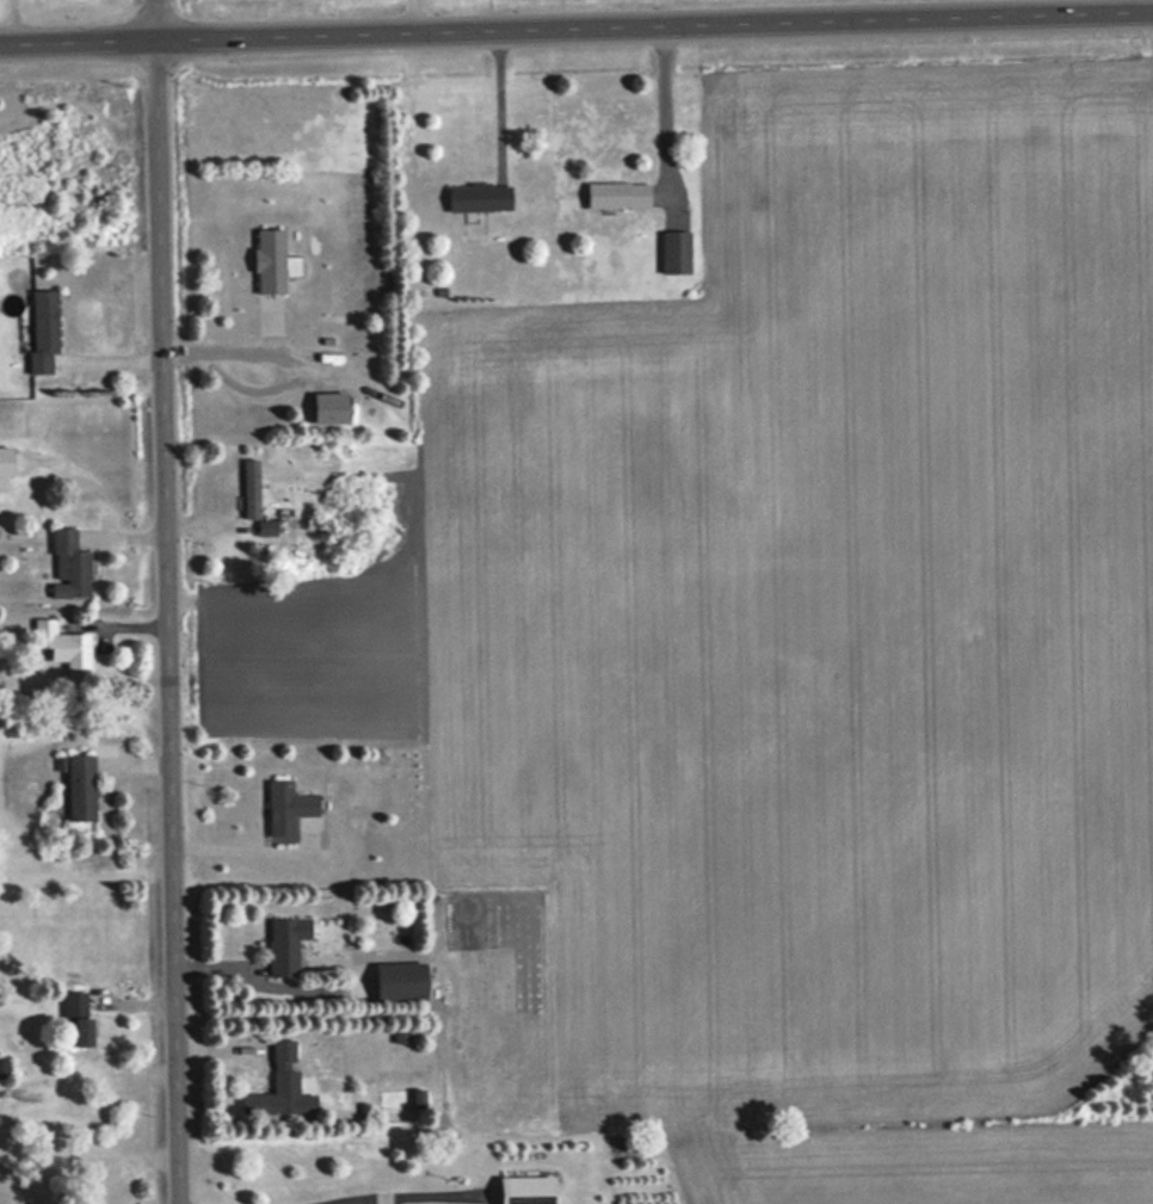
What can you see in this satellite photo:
road: (159, 19)
road: (575, 30)
building: (619, 195)
building: (481, 197)
building: (678, 253)
building: (275, 263)
building: (45, 331)
building: (333, 408)
building: (7, 462)
building: (252, 490)
building: (267, 529)
building: (69, 566)
road: (169, 622)
building: (58, 644)
building: (82, 788)
building: (289, 807)
building: (288, 945)
building: (405, 980)
building: (79, 1020)
building: (283, 1087)
building: (530, 1190)

